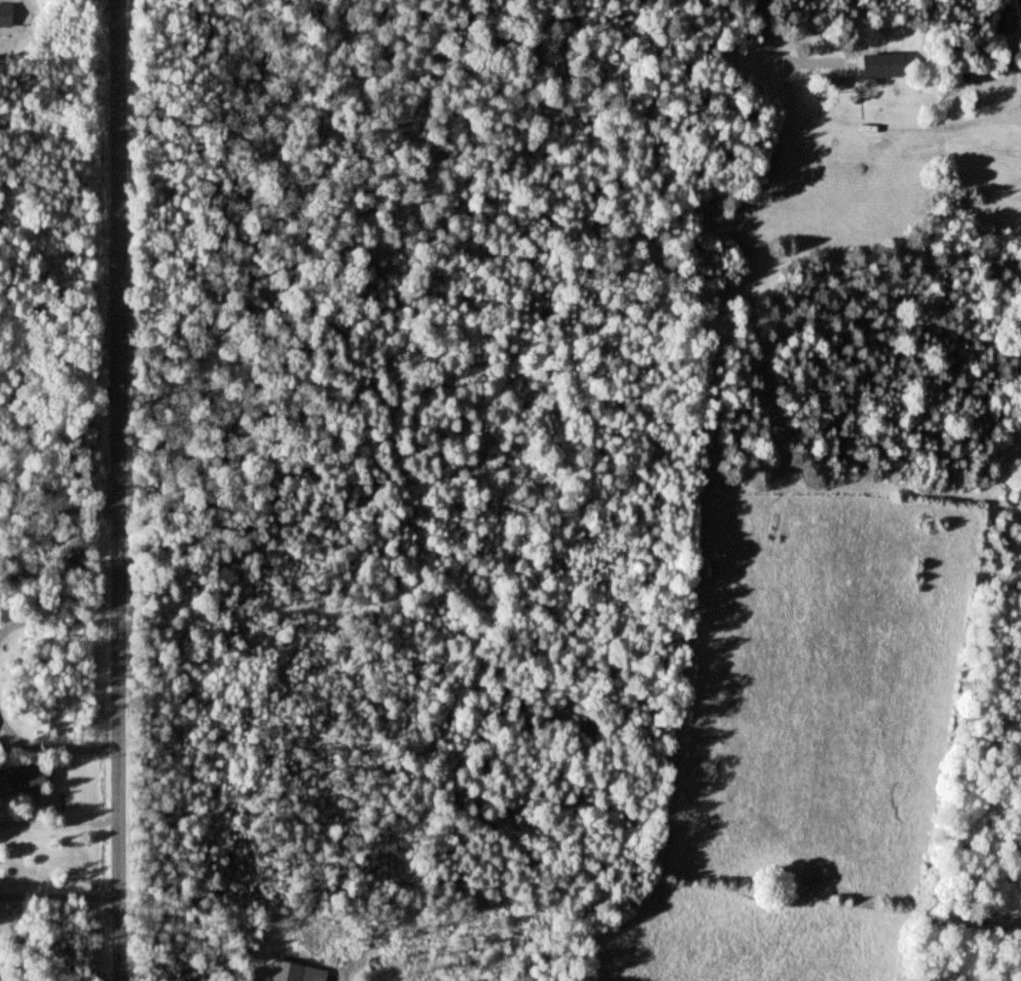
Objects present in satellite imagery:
building: (6, 17)
building: (1011, 20)
building: (885, 67)
road: (117, 490)
building: (29, 780)
building: (296, 973)

